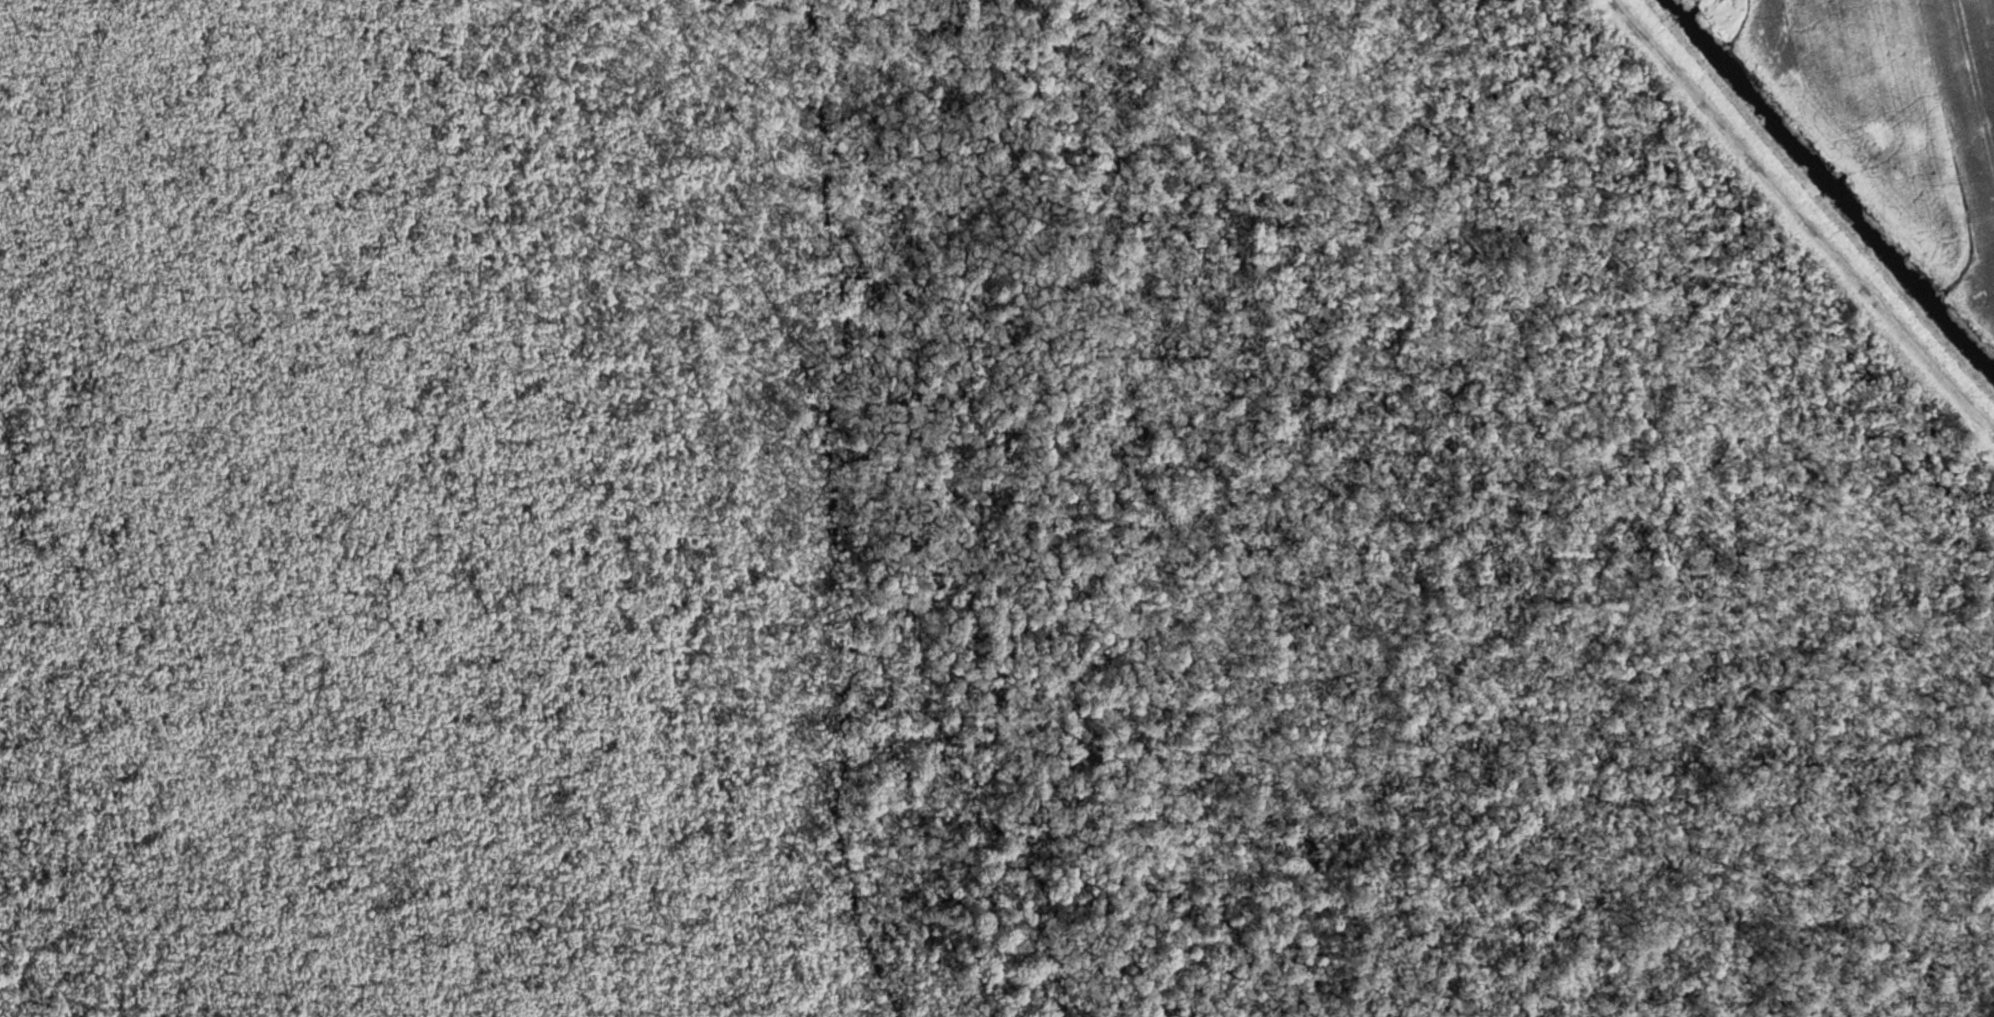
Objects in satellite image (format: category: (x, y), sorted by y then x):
crop: (1896, 121)
road: (1802, 222)

